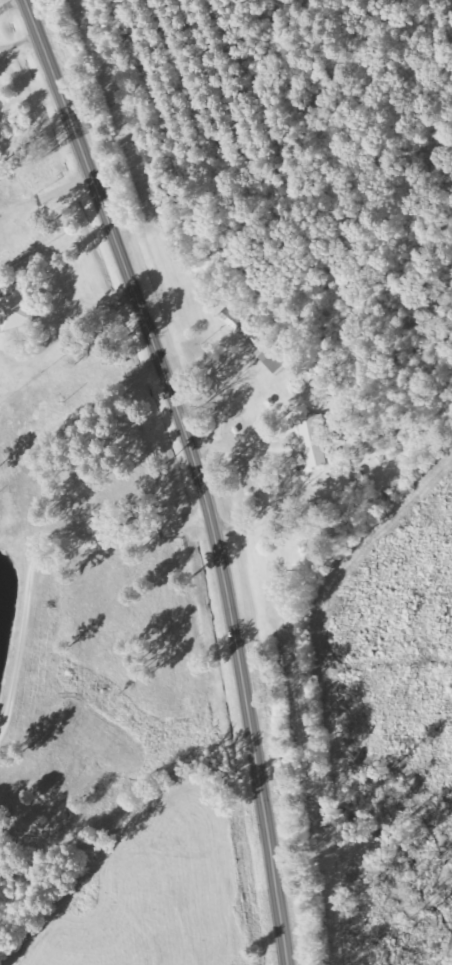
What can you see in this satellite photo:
building: (14, 307)
building: (238, 326)
building: (273, 357)
building: (313, 441)
road: (195, 471)

